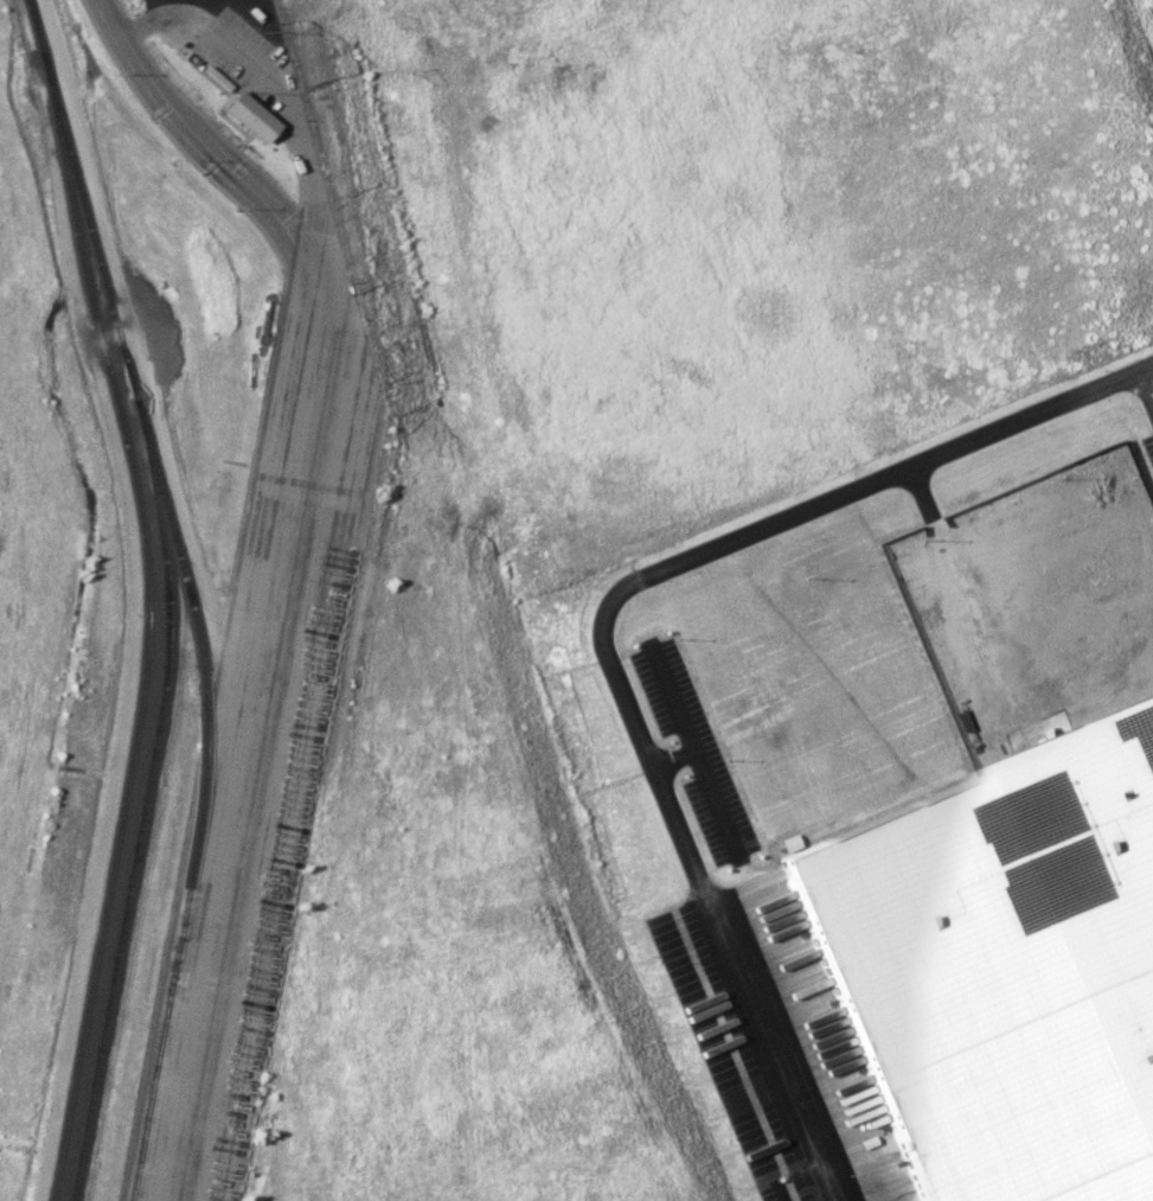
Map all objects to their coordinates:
road: (288, 104)
railway: (53, 108)
building: (250, 115)
road: (216, 154)
road: (1142, 398)
railway: (188, 593)
road: (604, 627)
railway: (145, 800)
building: (1004, 969)

